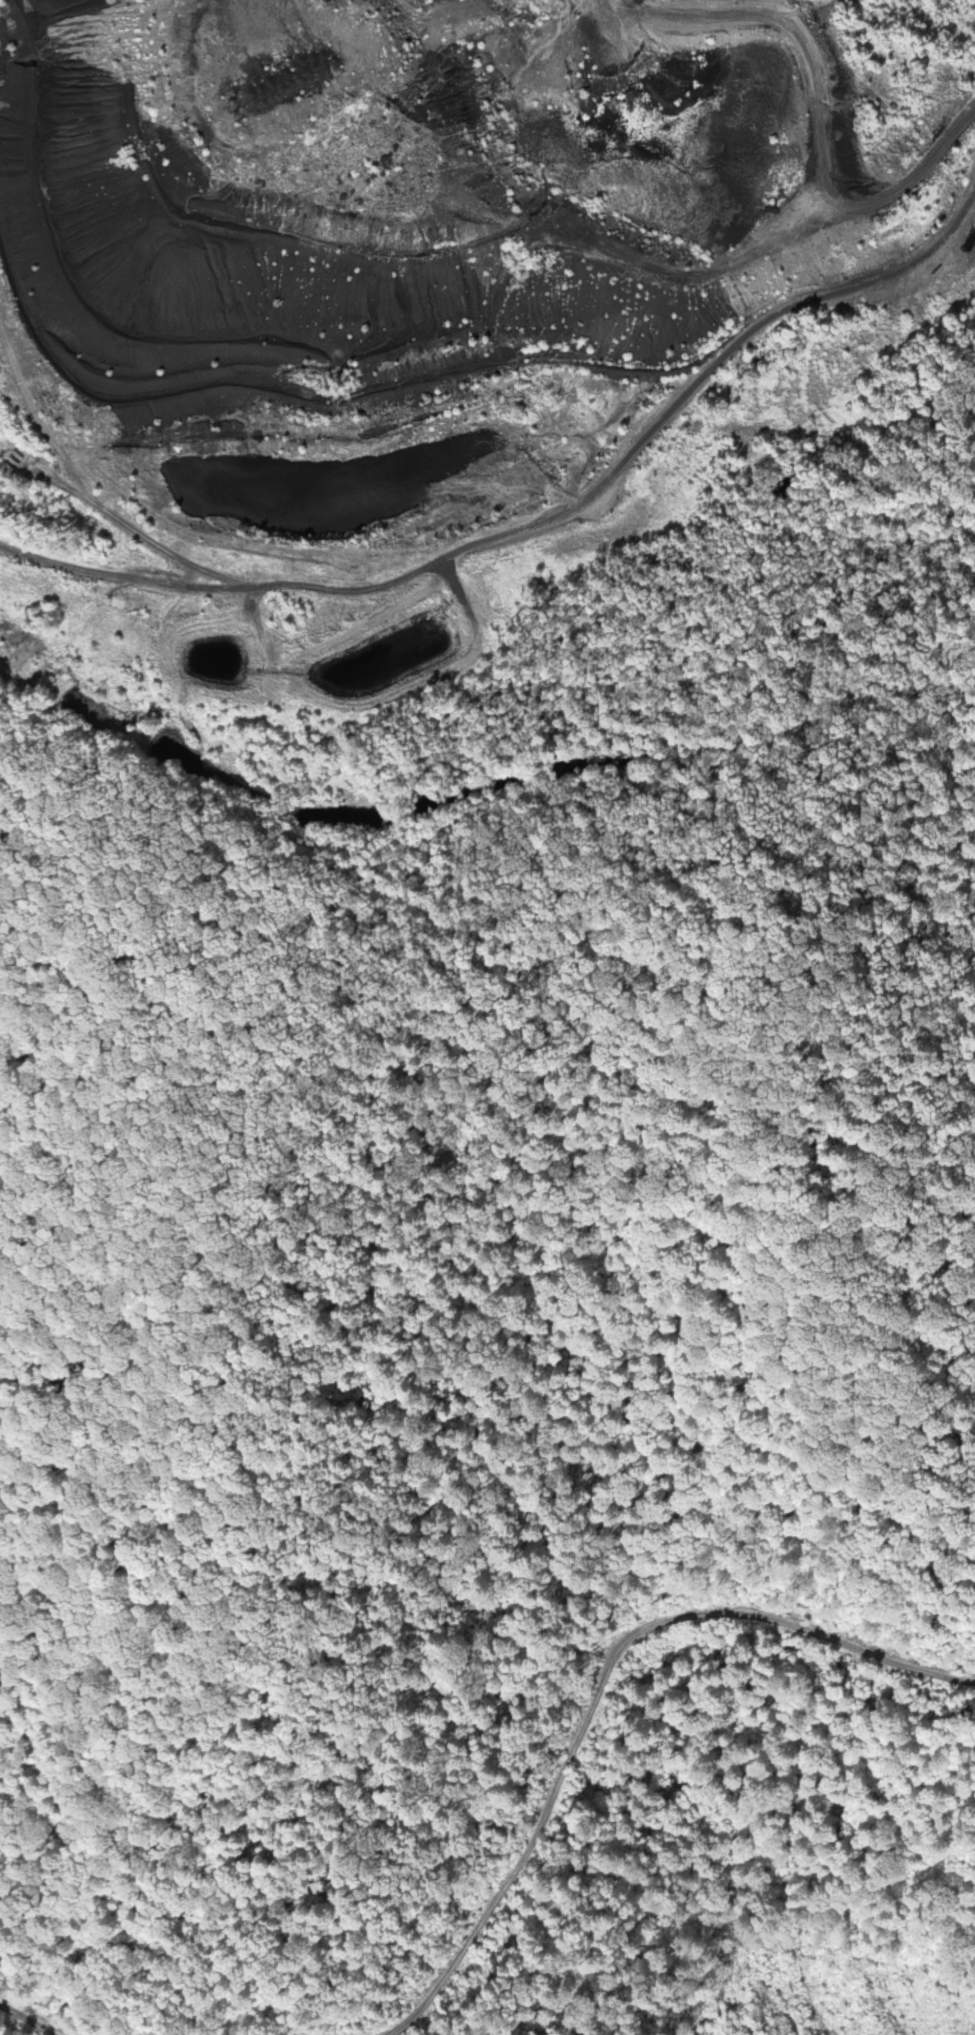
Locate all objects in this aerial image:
road: (486, 260)

